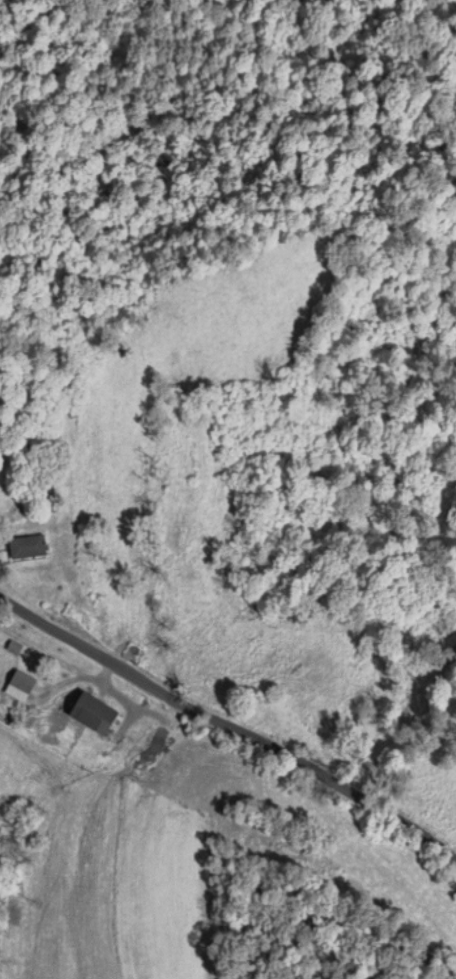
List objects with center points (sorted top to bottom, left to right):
building: (24, 547)
building: (17, 688)
building: (89, 715)
road: (230, 728)

